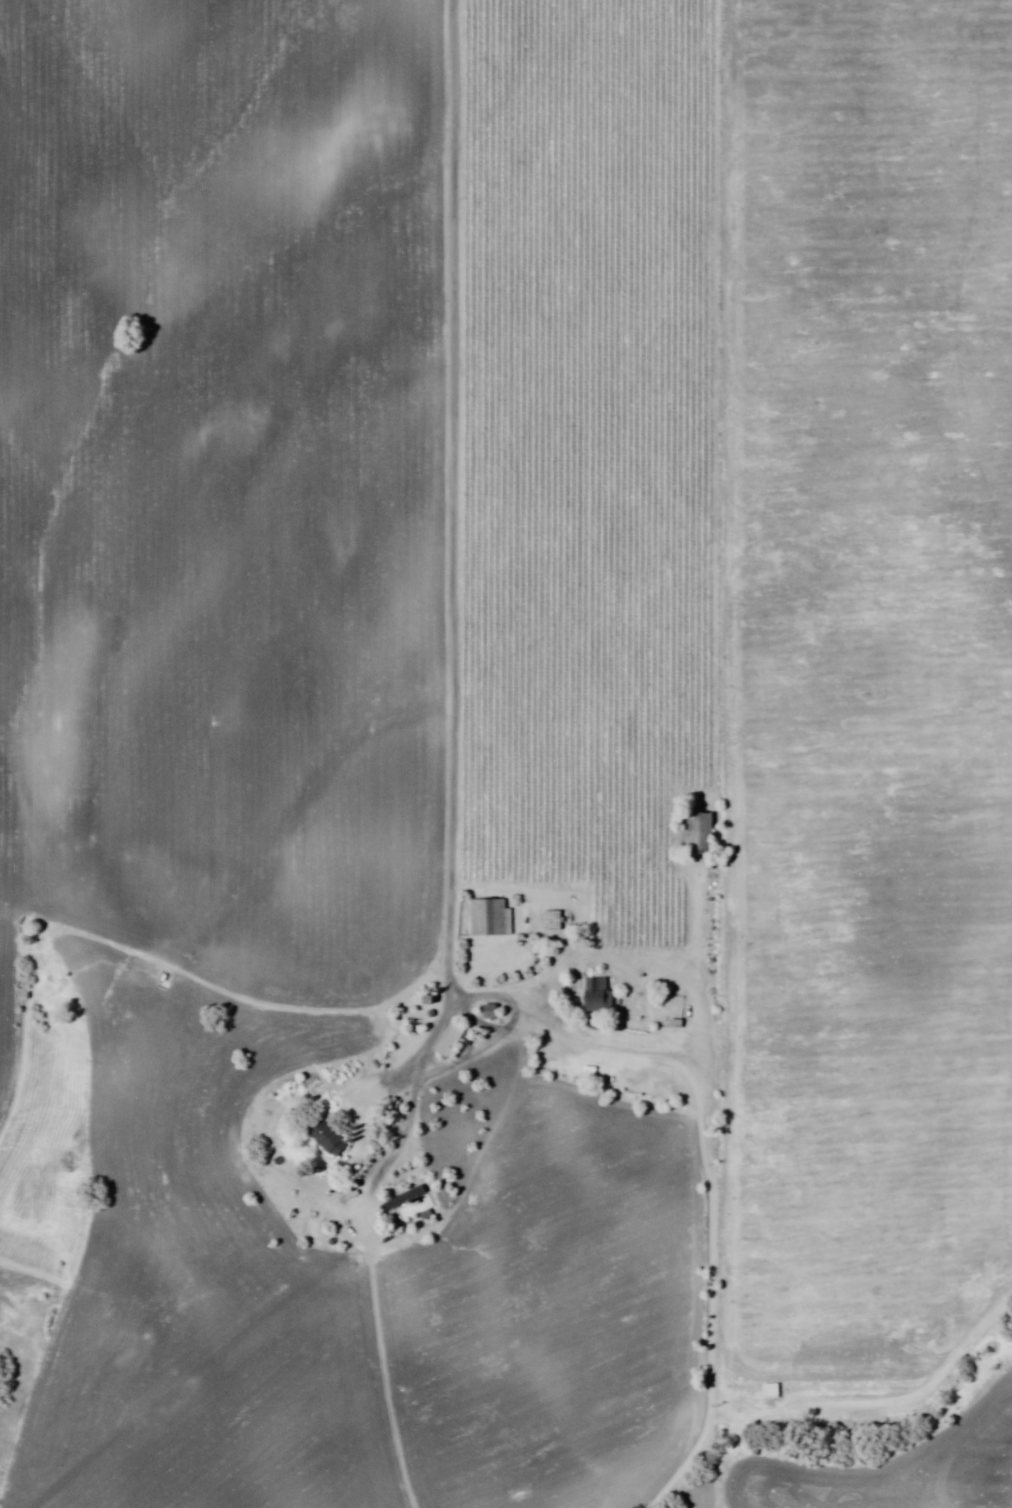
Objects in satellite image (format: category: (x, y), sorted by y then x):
road: (451, 550)
building: (702, 831)
building: (491, 917)
building: (554, 923)
building: (599, 995)
building: (492, 1012)
building: (453, 1040)
building: (330, 1139)
building: (407, 1198)
building: (770, 1391)

